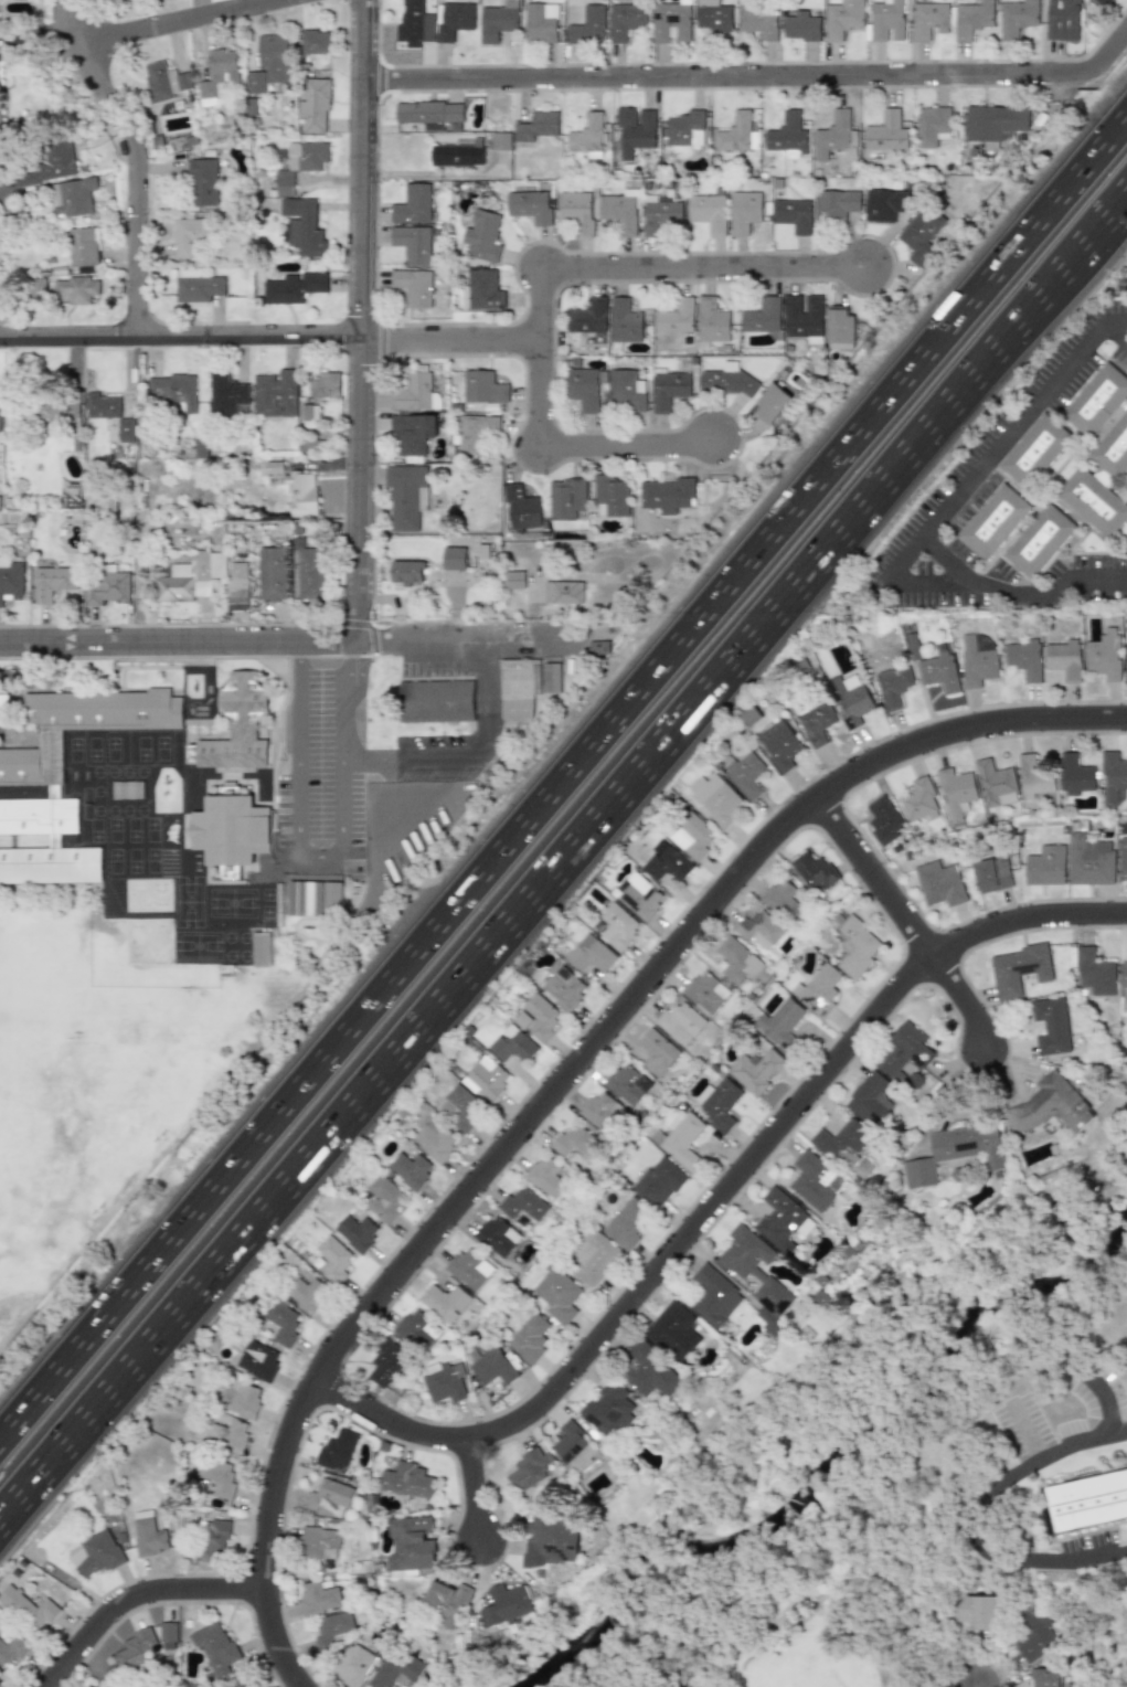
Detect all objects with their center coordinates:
building: (1103, 3)
building: (1017, 17)
building: (712, 18)
building: (884, 18)
building: (972, 18)
building: (454, 19)
building: (843, 19)
building: (928, 19)
road: (189, 20)
building: (1063, 20)
building: (413, 21)
building: (498, 21)
building: (625, 21)
building: (758, 21)
building: (671, 22)
building: (540, 23)
building: (587, 24)
building: (800, 25)
building: (315, 41)
road: (1110, 47)
building: (270, 63)
road: (730, 74)
building: (219, 75)
building: (166, 82)
building: (3, 103)
building: (317, 105)
building: (430, 113)
building: (993, 124)
building: (535, 126)
building: (932, 126)
building: (635, 127)
building: (685, 128)
building: (735, 132)
building: (886, 132)
building: (833, 135)
building: (588, 137)
building: (788, 137)
building: (501, 141)
building: (457, 155)
road: (135, 158)
building: (59, 161)
building: (302, 162)
building: (30, 179)
building: (203, 183)
road: (11, 195)
building: (76, 198)
building: (413, 203)
building: (836, 204)
building: (885, 204)
building: (532, 205)
building: (577, 211)
building: (620, 211)
building: (708, 212)
building: (744, 212)
building: (793, 214)
road: (1117, 214)
building: (660, 215)
building: (299, 224)
building: (189, 234)
building: (921, 234)
building: (480, 236)
building: (412, 244)
building: (84, 247)
road: (666, 270)
building: (196, 287)
building: (294, 287)
building: (413, 287)
building: (39, 288)
building: (77, 289)
building: (481, 290)
building: (588, 315)
building: (763, 317)
building: (674, 318)
building: (802, 318)
road: (364, 319)
road: (1116, 320)
building: (625, 321)
building: (711, 321)
building: (840, 328)
road: (1114, 336)
road: (269, 340)
building: (729, 381)
building: (483, 386)
building: (670, 388)
building: (586, 389)
building: (172, 391)
building: (627, 391)
building: (413, 392)
building: (274, 393)
building: (318, 393)
building: (225, 394)
building: (1098, 399)
building: (770, 404)
building: (56, 410)
building: (109, 413)
building: (0, 417)
building: (412, 432)
building: (476, 432)
road: (575, 443)
road: (999, 445)
building: (1116, 448)
building: (199, 449)
building: (1038, 453)
building: (1103, 477)
building: (301, 494)
building: (664, 495)
building: (405, 496)
building: (609, 497)
building: (566, 498)
building: (1097, 502)
building: (520, 507)
building: (997, 523)
building: (1040, 543)
building: (454, 559)
building: (277, 574)
building: (310, 574)
building: (406, 574)
building: (10, 577)
building: (191, 577)
road: (927, 582)
building: (53, 583)
building: (107, 587)
road: (1016, 590)
building: (563, 592)
building: (238, 601)
road: (273, 640)
building: (598, 648)
building: (1103, 655)
building: (1125, 656)
building: (1023, 658)
building: (976, 659)
building: (1063, 659)
building: (938, 670)
building: (551, 678)
building: (893, 687)
building: (517, 690)
building: (848, 699)
building: (436, 701)
building: (6, 708)
building: (812, 720)
building: (242, 723)
building: (778, 745)
parking lot: (437, 756)
road: (469, 756)
road: (563, 774)
building: (745, 774)
building: (1074, 775)
building: (1032, 777)
building: (1112, 777)
building: (993, 784)
building: (57, 792)
building: (954, 793)
parking lot: (319, 796)
building: (715, 798)
building: (882, 820)
building: (233, 829)
building: (690, 836)
road: (318, 855)
building: (1121, 856)
building: (1088, 861)
building: (666, 862)
building: (1044, 866)
building: (814, 871)
road: (553, 874)
building: (990, 874)
building: (938, 883)
building: (640, 898)
building: (313, 899)
building: (782, 900)
road: (906, 920)
building: (616, 926)
building: (758, 929)
building: (855, 946)
building: (261, 949)
building: (589, 954)
building: (736, 961)
building: (1018, 970)
building: (1094, 972)
building: (1123, 975)
building: (562, 985)
building: (817, 990)
building: (704, 991)
building: (540, 1017)
building: (679, 1023)
building: (779, 1023)
building: (1050, 1026)
building: (511, 1044)
building: (656, 1052)
building: (901, 1052)
building: (754, 1070)
building: (486, 1078)
road: (562, 1083)
building: (626, 1084)
building: (868, 1099)
building: (716, 1103)
building: (1050, 1105)
building: (463, 1106)
building: (602, 1112)
building: (434, 1140)
building: (680, 1140)
building: (840, 1140)
building: (575, 1142)
building: (954, 1152)
park: (29, 1154)
building: (408, 1169)
building: (544, 1177)
building: (811, 1181)
building: (658, 1182)
road: (719, 1195)
building: (383, 1198)
building: (522, 1205)
building: (782, 1221)
building: (625, 1223)
building: (355, 1232)
building: (497, 1237)
building: (333, 1259)
building: (591, 1259)
building: (468, 1269)
building: (755, 1275)
building: (305, 1294)
building: (556, 1295)
building: (713, 1296)
building: (444, 1302)
building: (281, 1322)
building: (415, 1330)
building: (672, 1330)
building: (528, 1338)
building: (257, 1360)
building: (384, 1362)
building: (490, 1366)
building: (647, 1371)
building: (443, 1381)
building: (243, 1400)
building: (608, 1409)
building: (226, 1433)
building: (572, 1446)
building: (336, 1450)
building: (529, 1470)
building: (215, 1476)
building: (406, 1481)
road: (470, 1492)
building: (327, 1498)
building: (1087, 1503)
road: (985, 1505)
building: (1049, 1521)
building: (148, 1538)
building: (210, 1539)
building: (549, 1540)
building: (317, 1542)
building: (410, 1545)
building: (95, 1553)
road: (1106, 1555)
building: (316, 1598)
road: (136, 1599)
building: (444, 1602)
building: (502, 1604)
building: (26, 1608)
building: (976, 1611)
building: (330, 1630)
building: (1033, 1634)
building: (167, 1635)
park: (827, 1636)
building: (136, 1648)
building: (215, 1648)
building: (10, 1649)
building: (351, 1665)
building: (394, 1667)
building: (1043, 1678)
road: (975, 1686)

